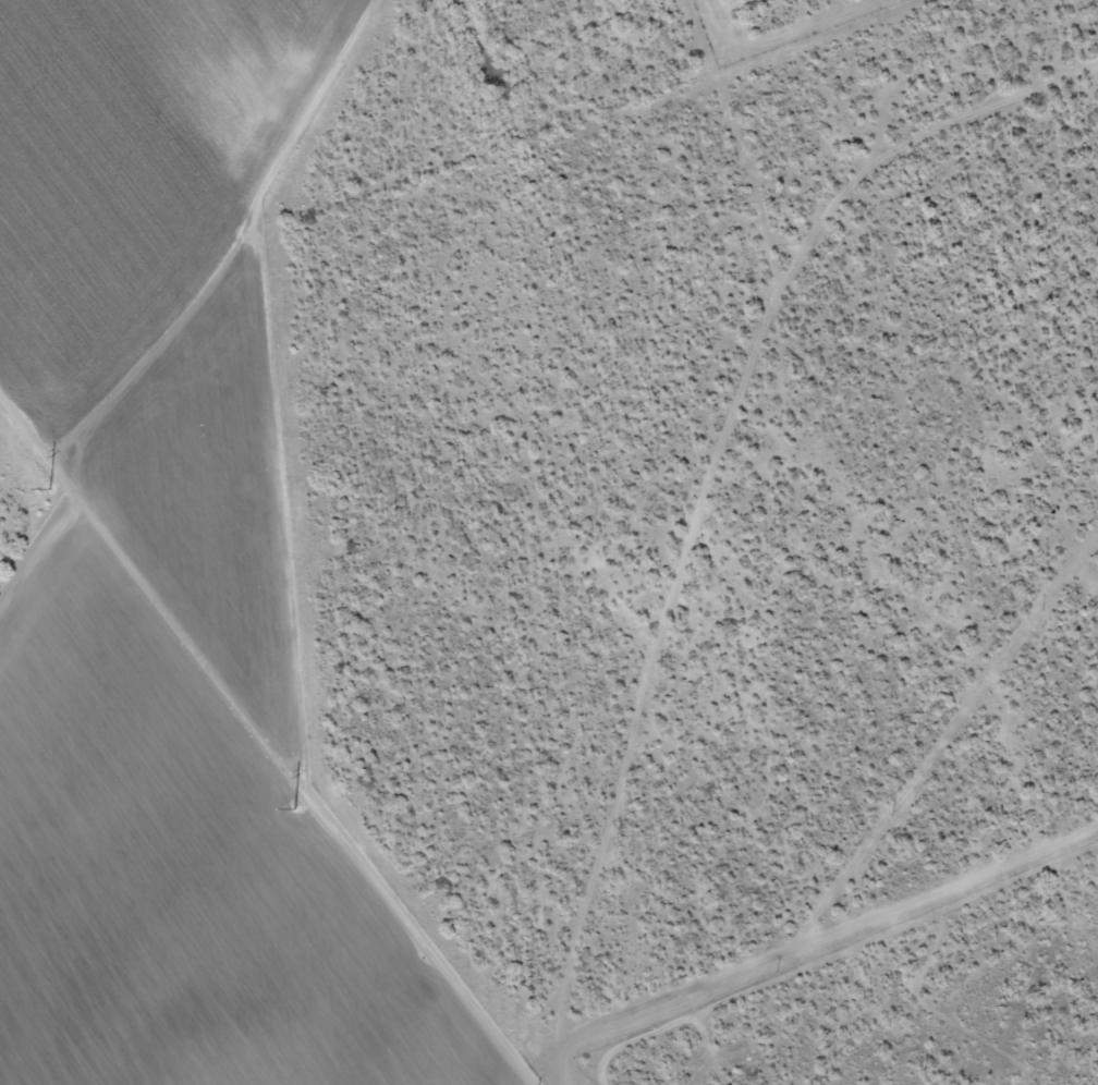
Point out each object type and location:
road: (912, 139)
power tower: (57, 497)
road: (694, 540)
road: (961, 634)
power tower: (288, 800)

